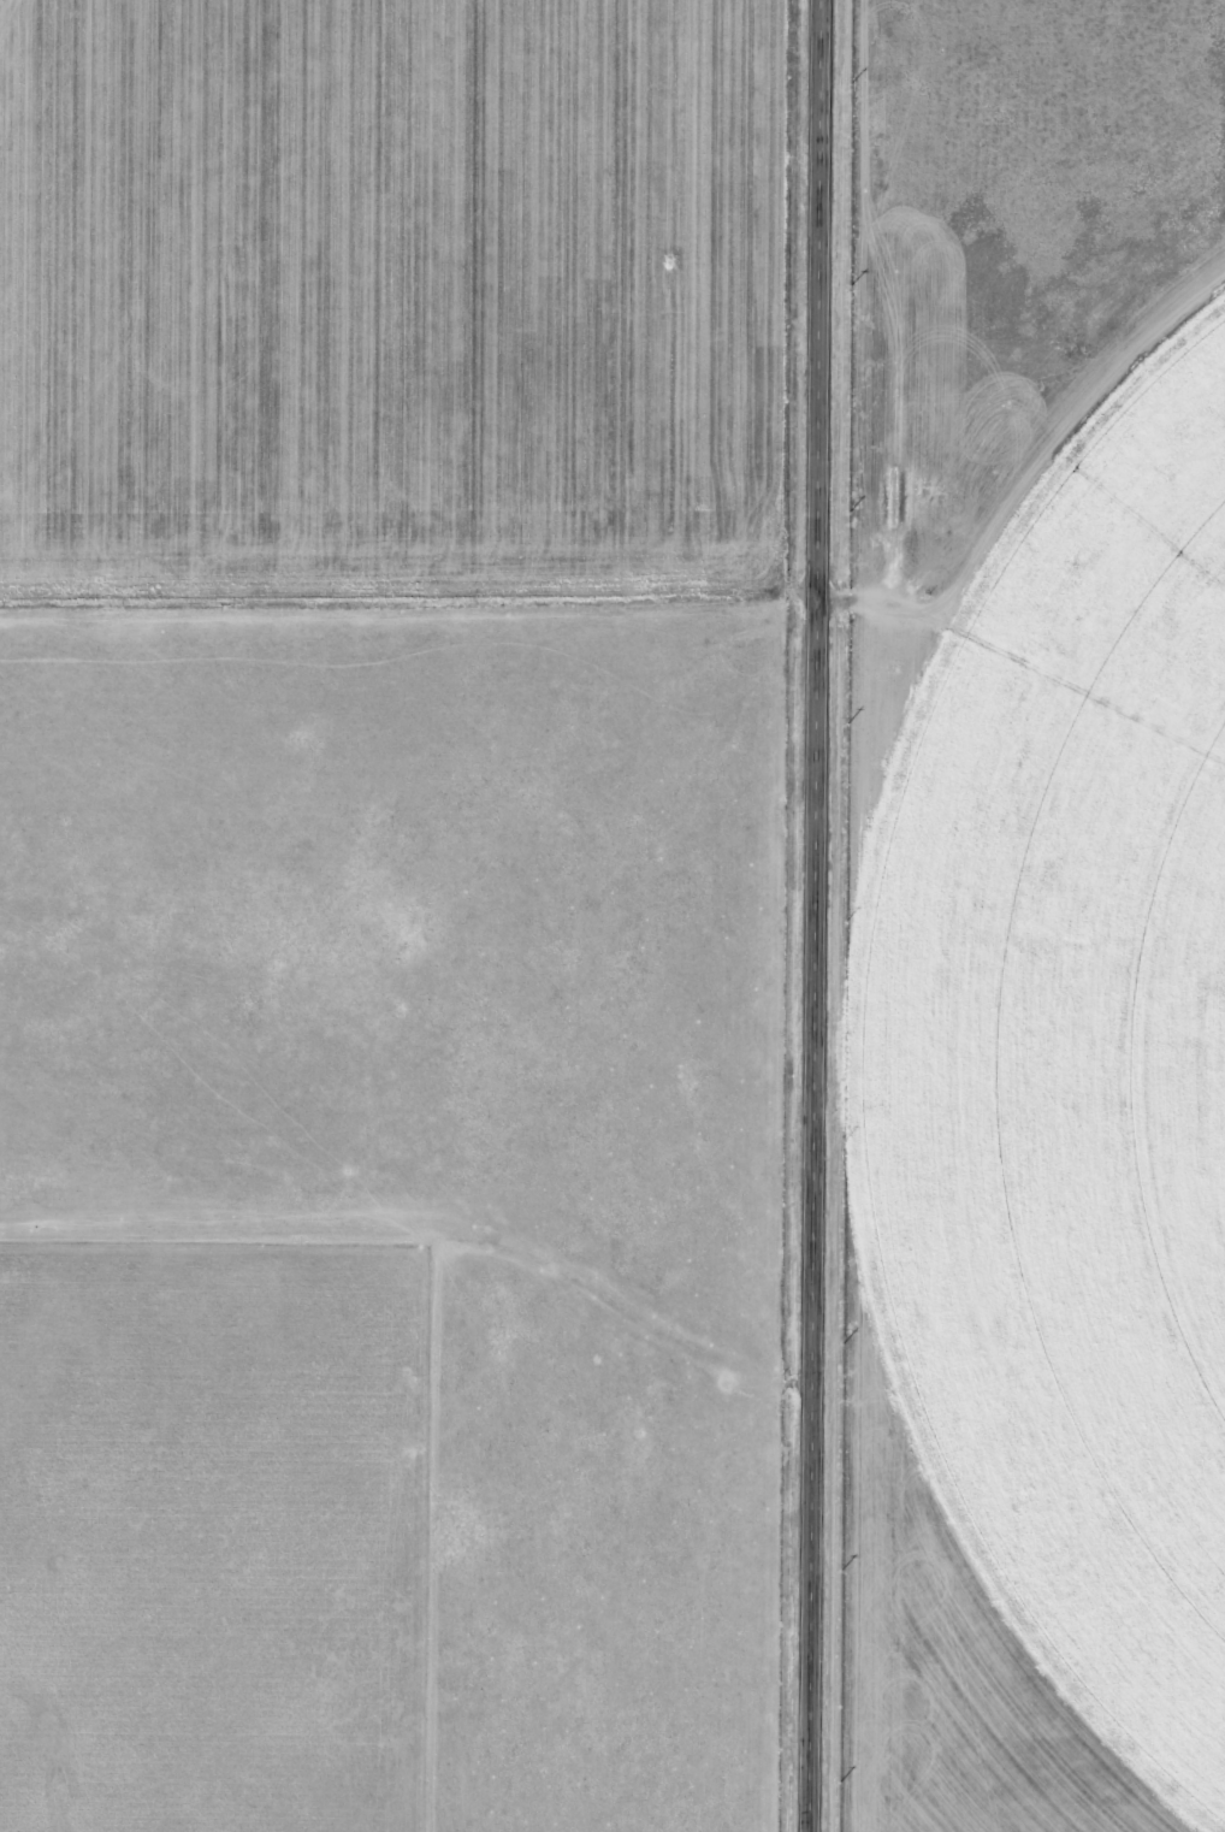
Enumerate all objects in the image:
road: (815, 915)

